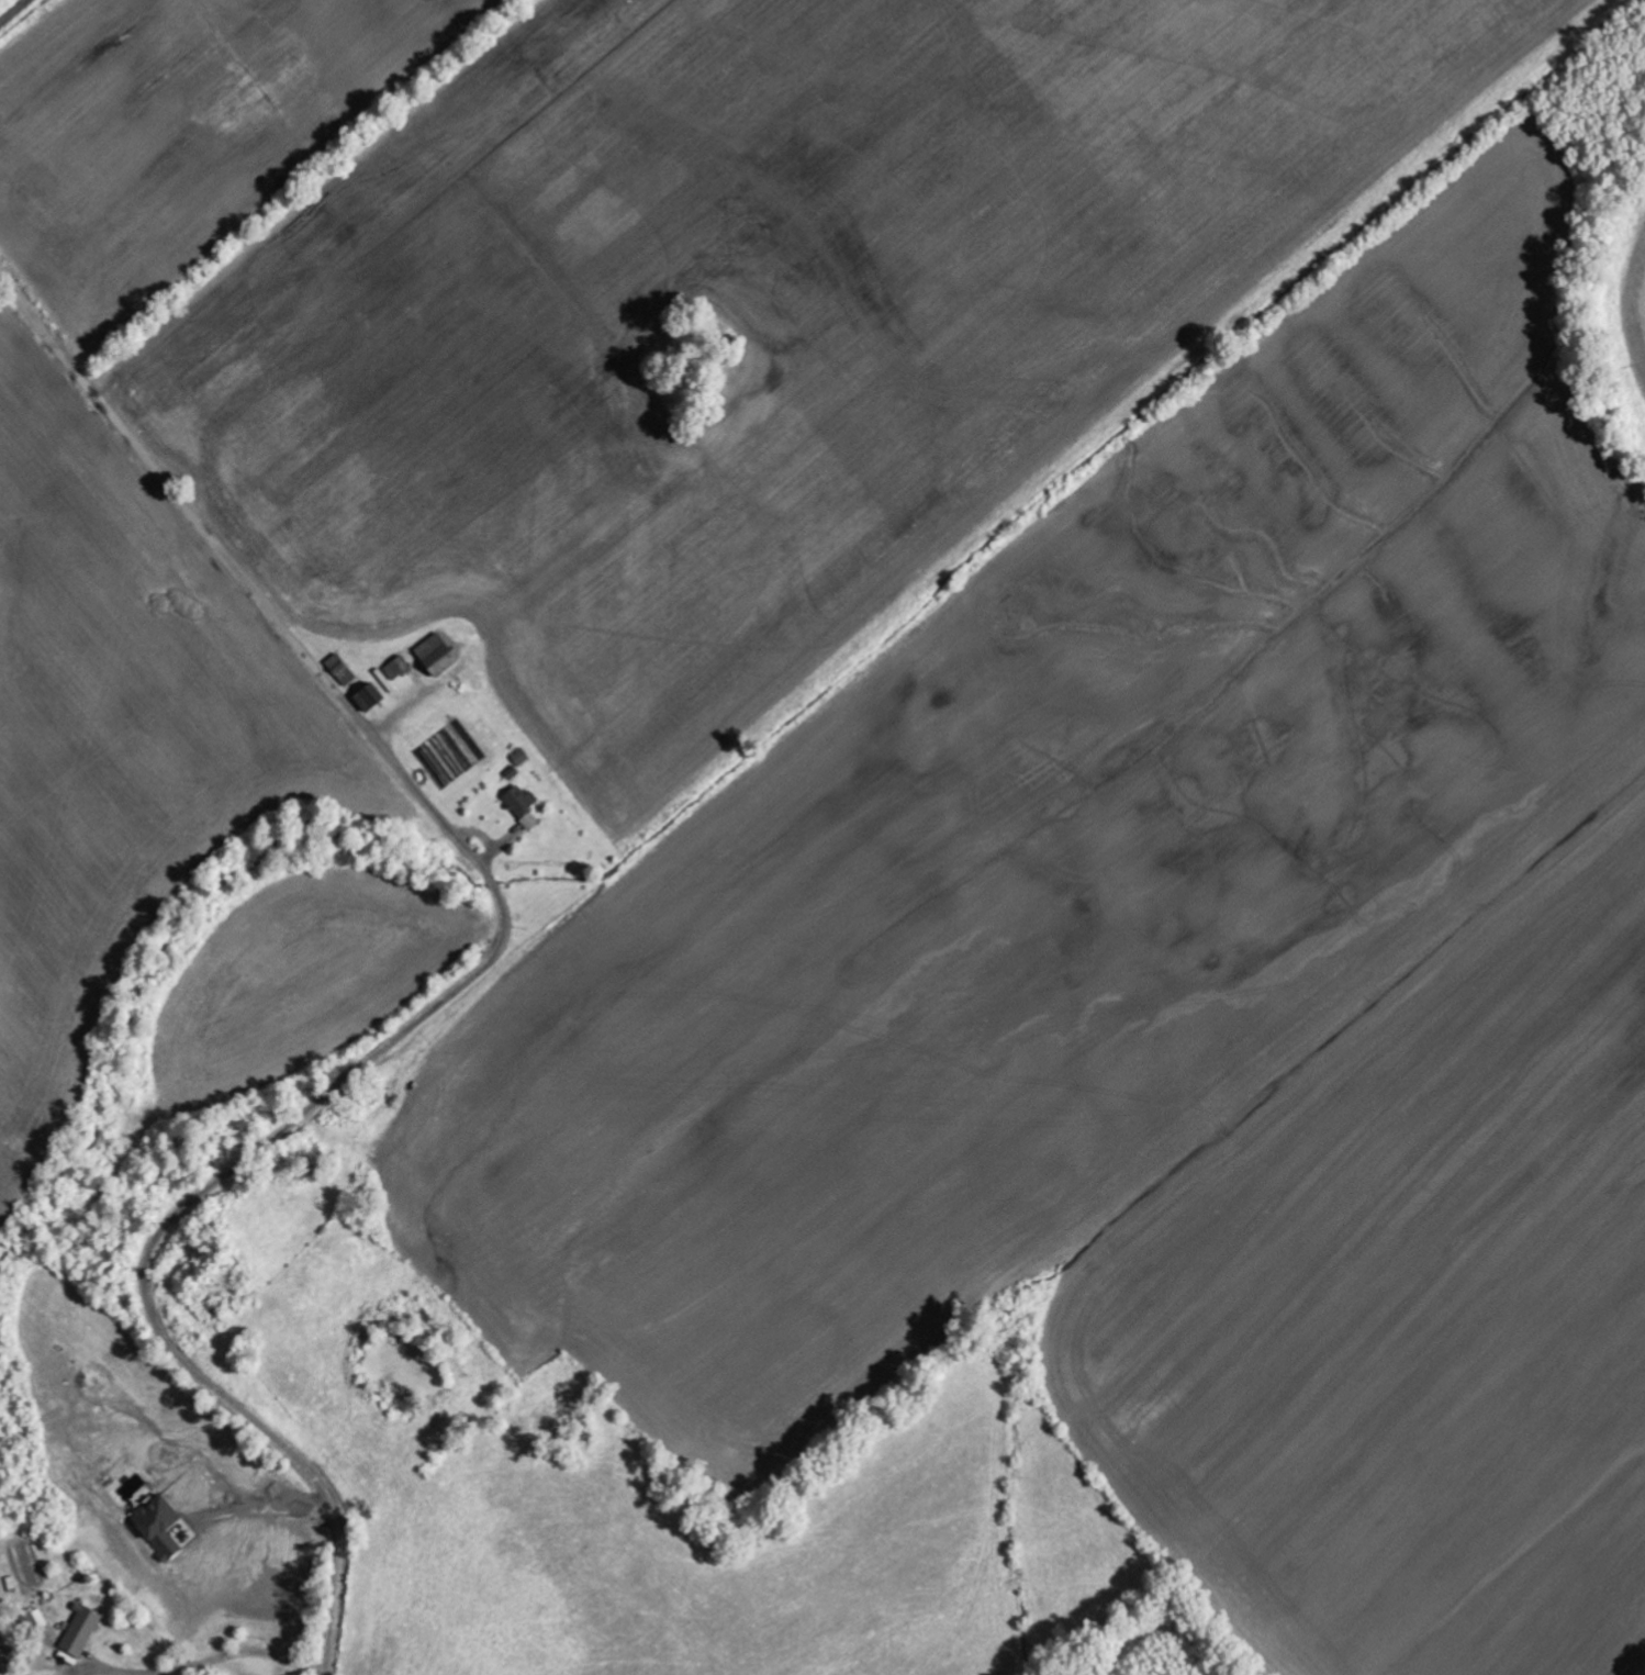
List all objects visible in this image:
road: (11, 11)
building: (436, 654)
building: (369, 696)
building: (521, 803)
road: (463, 986)
building: (159, 1526)
building: (81, 1630)
road: (209, 1637)

